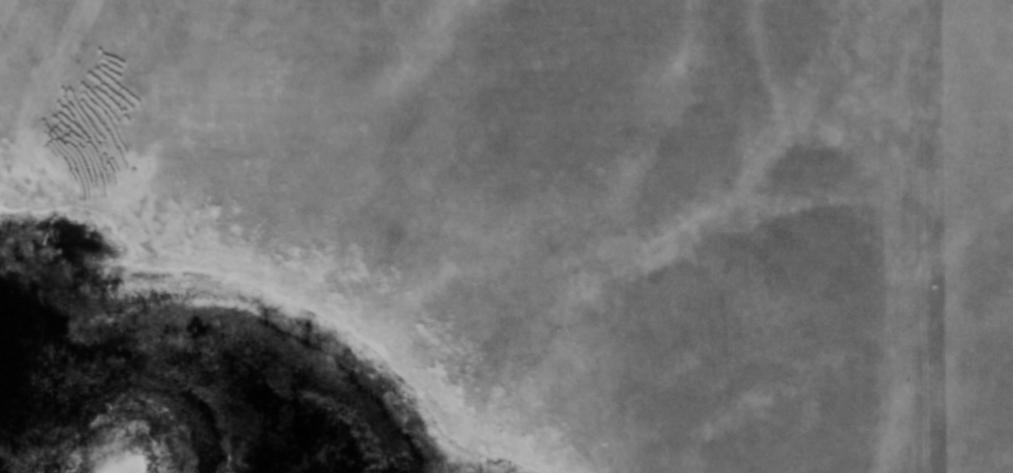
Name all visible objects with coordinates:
road: (88, 132)

